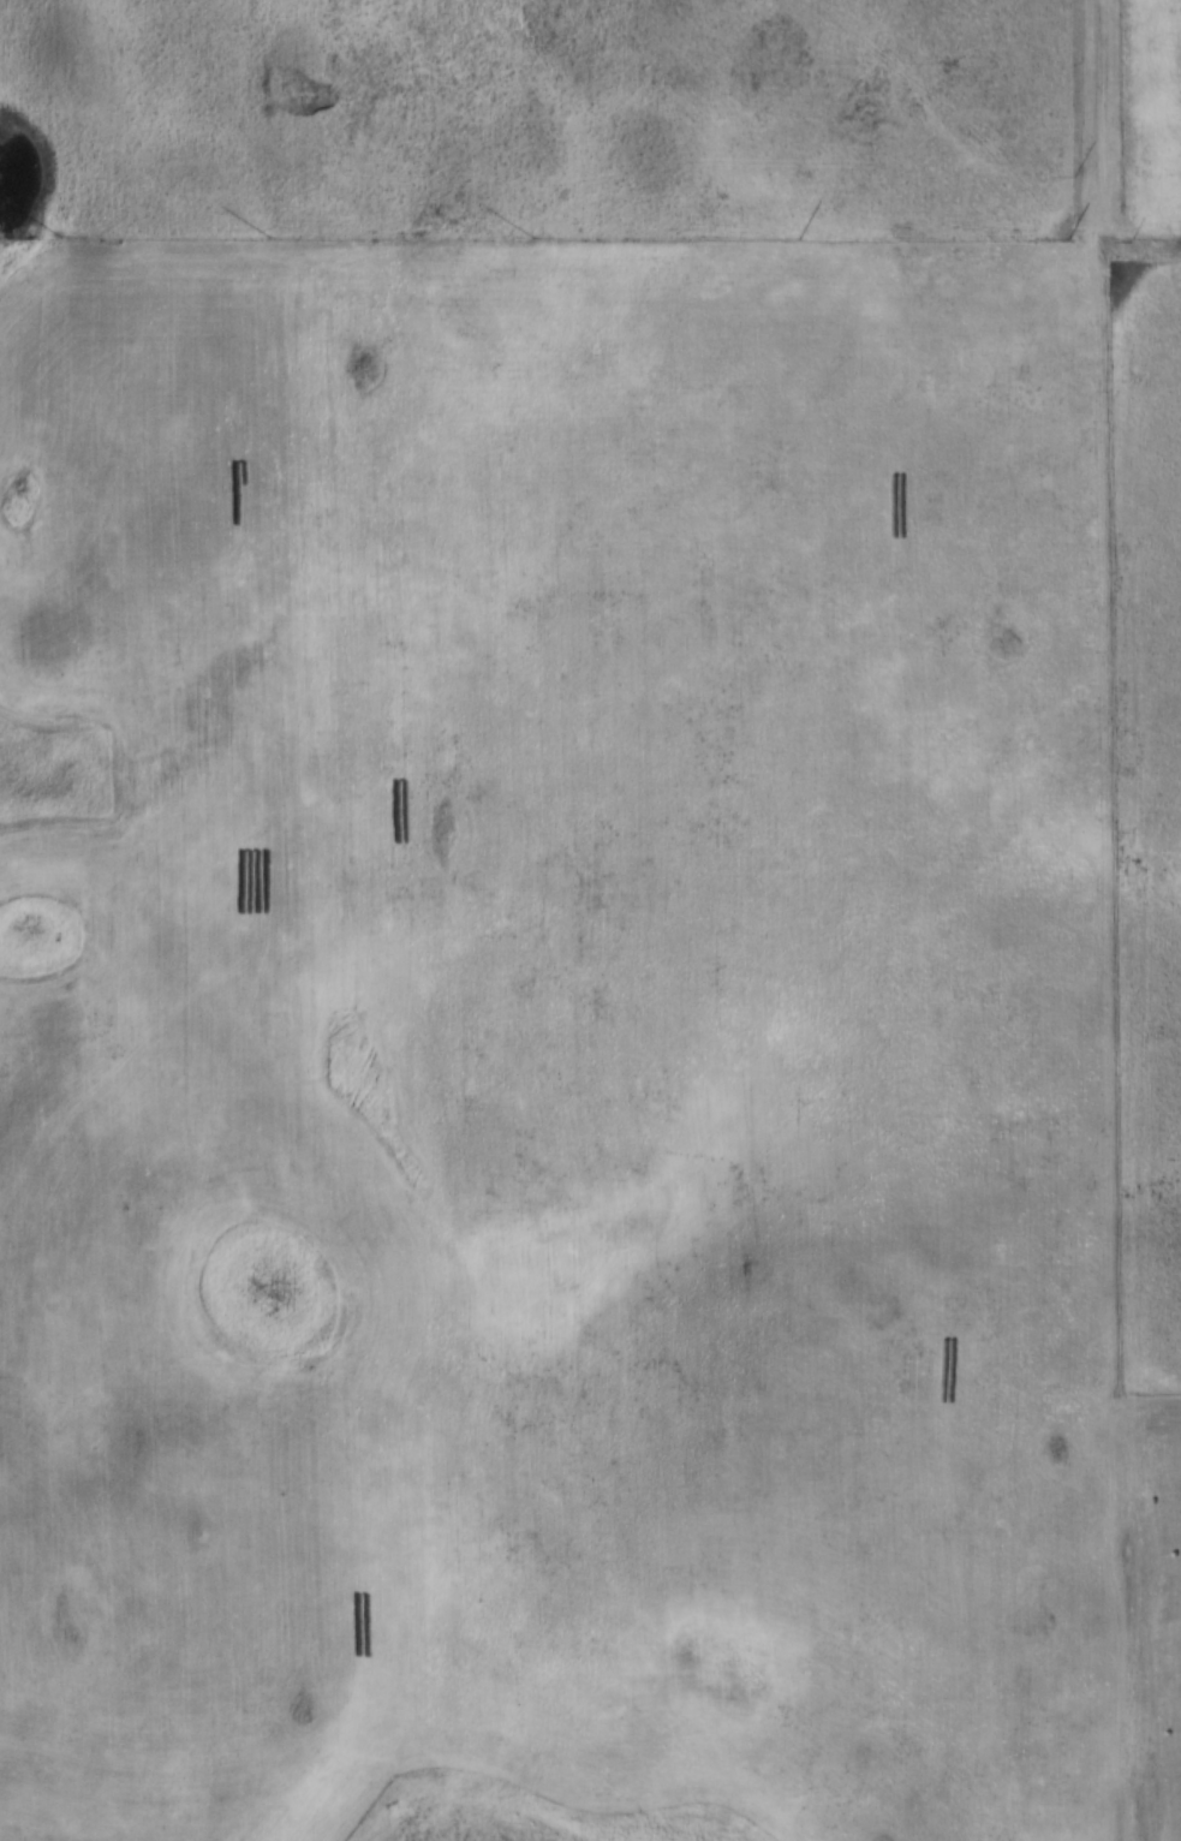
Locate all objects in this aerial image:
road: (1155, 919)

